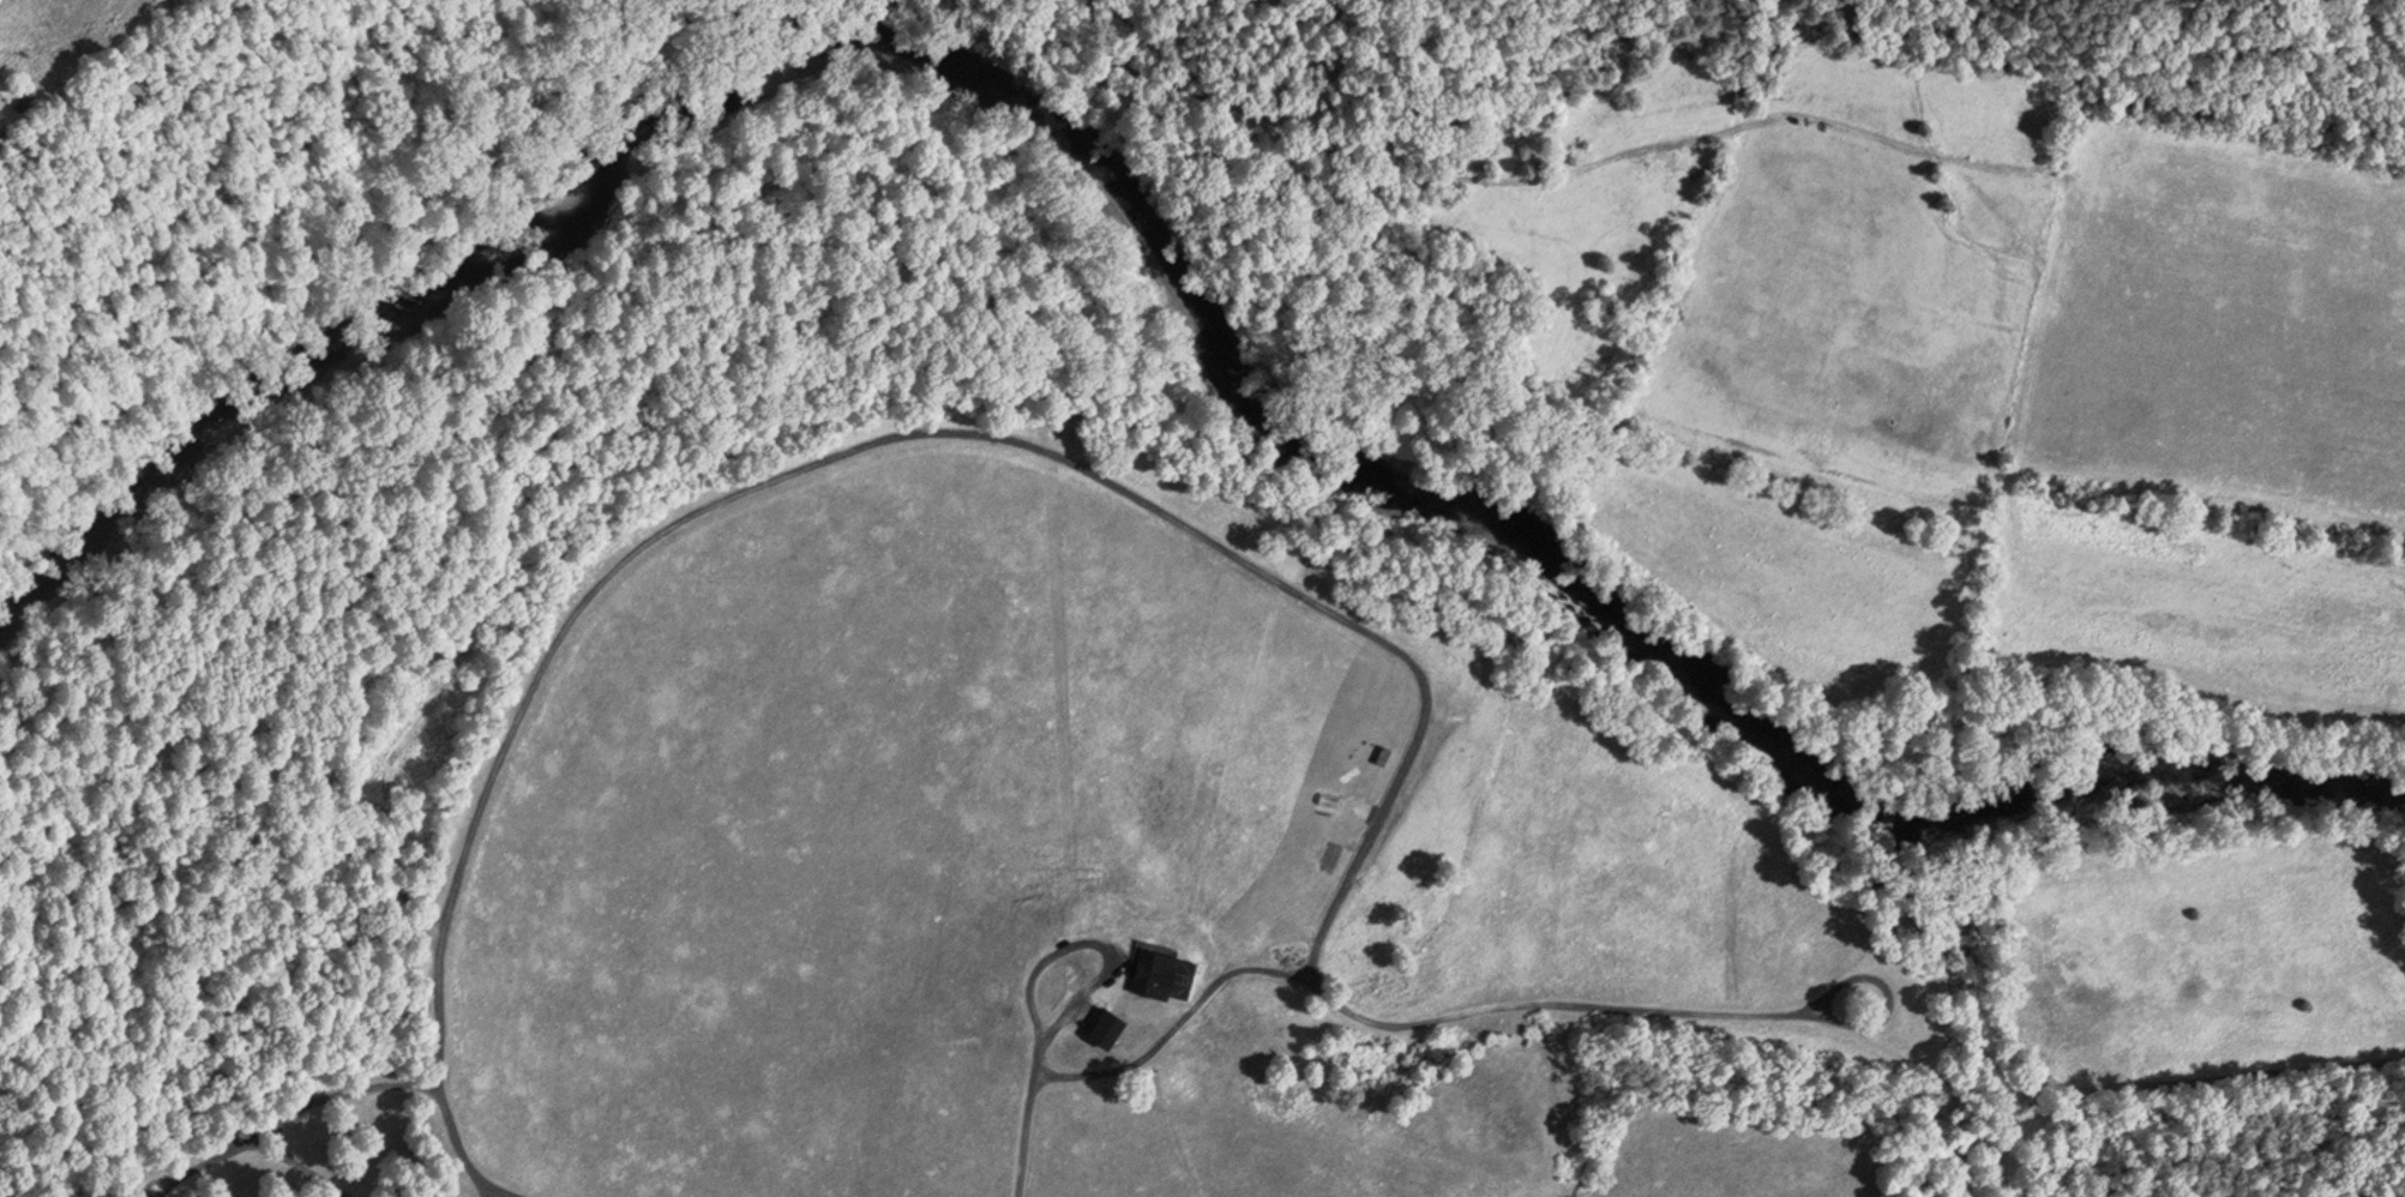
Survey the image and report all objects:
river: (1165, 258)
road: (860, 456)
road: (1063, 963)
road: (1647, 1021)
road: (1170, 1031)
road: (291, 1117)
road: (1028, 1117)
road: (297, 1167)

